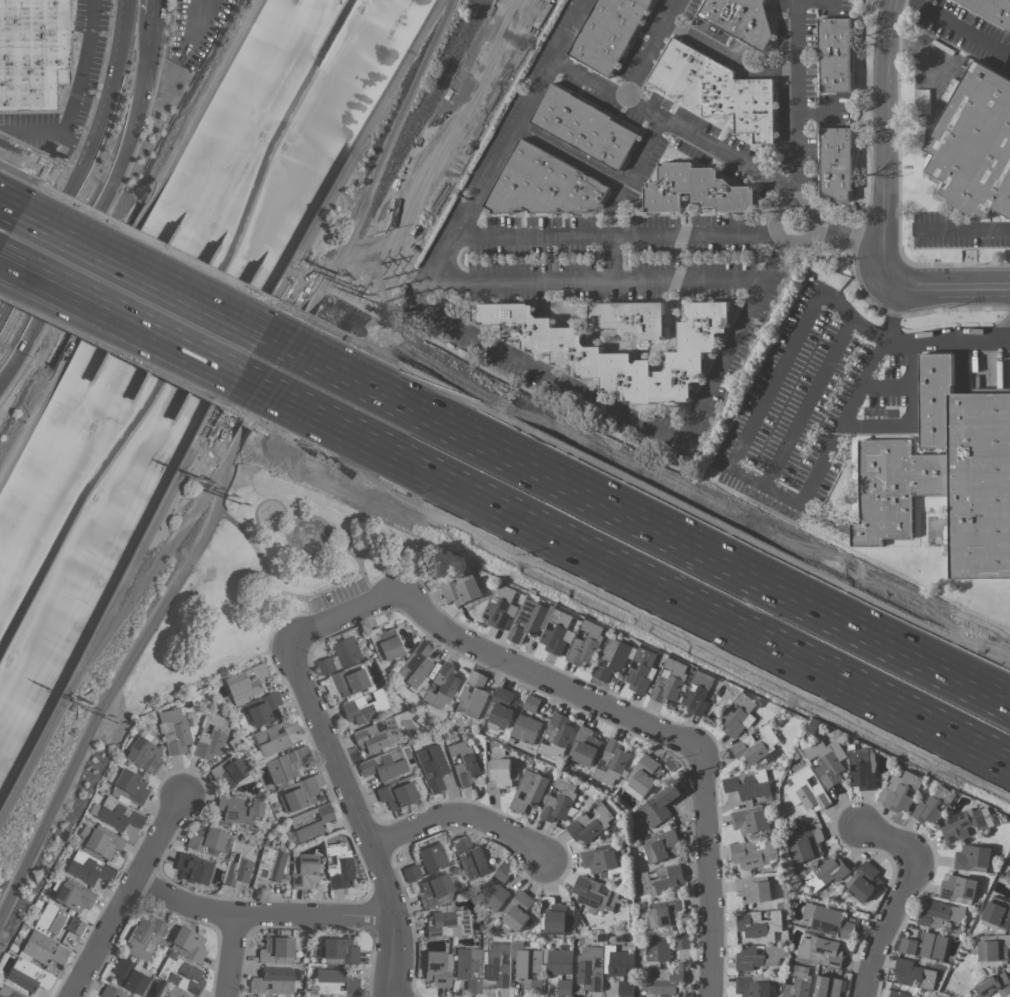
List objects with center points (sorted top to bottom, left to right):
road: (153, 7)
building: (990, 11)
building: (738, 20)
road: (196, 21)
road: (953, 24)
building: (610, 33)
road: (123, 38)
road: (663, 50)
building: (33, 53)
building: (836, 57)
road: (738, 62)
road: (82, 65)
building: (717, 91)
road: (805, 100)
road: (681, 128)
building: (583, 129)
road: (32, 132)
road: (75, 141)
building: (974, 143)
road: (386, 146)
road: (886, 146)
road: (579, 159)
building: (838, 163)
road: (638, 178)
road: (10, 185)
building: (544, 186)
building: (695, 191)
road: (74, 192)
road: (97, 203)
road: (779, 216)
road: (961, 228)
road: (124, 233)
road: (852, 233)
road: (624, 237)
road: (621, 260)
road: (167, 261)
power tower: (338, 274)
road: (609, 283)
road: (955, 286)
road: (873, 303)
road: (894, 308)
road: (9, 317)
road: (849, 319)
building: (629, 322)
road: (109, 324)
river: (176, 329)
road: (886, 335)
road: (108, 338)
road: (960, 341)
road: (897, 343)
road: (501, 351)
building: (576, 357)
road: (776, 378)
road: (886, 387)
road: (249, 391)
road: (808, 403)
road: (910, 418)
road: (652, 454)
road: (824, 456)
building: (945, 474)
power tower: (199, 478)
road: (481, 505)
road: (661, 505)
road: (290, 517)
road: (283, 519)
road: (281, 530)
road: (336, 540)
road: (289, 548)
road: (356, 554)
road: (258, 557)
road: (358, 563)
park: (270, 576)
road: (416, 579)
road: (340, 581)
building: (461, 590)
road: (430, 598)
building: (499, 606)
road: (315, 609)
road: (343, 614)
building: (526, 619)
building: (555, 631)
building: (384, 643)
building: (585, 643)
building: (345, 651)
building: (611, 658)
building: (414, 664)
building: (323, 665)
building: (640, 670)
building: (347, 680)
building: (669, 681)
road: (847, 684)
building: (441, 685)
building: (239, 686)
road: (119, 688)
building: (697, 692)
building: (472, 695)
power tower: (76, 699)
building: (531, 703)
building: (364, 707)
building: (501, 707)
building: (264, 709)
building: (736, 714)
building: (526, 728)
road: (656, 729)
building: (174, 730)
building: (273, 736)
building: (376, 736)
building: (556, 736)
building: (210, 737)
building: (584, 745)
building: (756, 745)
building: (143, 754)
building: (464, 760)
building: (827, 760)
building: (612, 761)
building: (285, 765)
building: (384, 765)
building: (431, 766)
building: (862, 768)
building: (233, 771)
building: (498, 774)
building: (643, 774)
building: (748, 784)
building: (130, 785)
building: (529, 790)
building: (807, 790)
building: (899, 790)
building: (395, 794)
building: (298, 795)
building: (559, 800)
building: (659, 805)
building: (933, 805)
building: (238, 809)
building: (117, 813)
road: (356, 816)
road: (459, 816)
building: (749, 820)
building: (310, 821)
building: (592, 823)
building: (963, 823)
building: (205, 838)
building: (100, 841)
building: (807, 844)
building: (662, 845)
building: (754, 852)
building: (971, 856)
building: (470, 857)
building: (432, 858)
building: (599, 859)
building: (237, 864)
building: (338, 865)
building: (267, 867)
building: (88, 868)
building: (191, 868)
building: (304, 871)
building: (503, 871)
building: (410, 872)
building: (825, 873)
building: (1007, 875)
building: (660, 880)
building: (864, 880)
building: (436, 887)
building: (958, 887)
building: (754, 888)
building: (594, 893)
building: (492, 894)
building: (73, 897)
road: (128, 897)
road: (897, 897)
building: (519, 910)
road: (261, 913)
building: (666, 913)
building: (996, 913)
building: (555, 915)
building: (942, 916)
building: (49, 919)
building: (828, 920)
building: (448, 921)
building: (759, 923)
building: (75, 926)
building: (143, 937)
building: (682, 941)
building: (188, 943)
building: (907, 944)
building: (933, 946)
building: (657, 948)
building: (994, 948)
building: (43, 949)
building: (275, 949)
building: (338, 950)
building: (821, 950)
road: (228, 954)
building: (757, 956)
building: (559, 961)
building: (617, 961)
building: (498, 964)
building: (589, 966)
building: (436, 967)
building: (468, 968)
building: (529, 969)
building: (914, 973)
building: (28, 975)
building: (180, 975)
building: (130, 976)
building: (274, 979)
building: (663, 981)
building: (797, 981)
building: (334, 982)
building: (995, 985)
building: (564, 986)
building: (828, 986)
building: (752, 987)
building: (626, 988)
building: (9, 991)
building: (108, 991)
building: (899, 994)
building: (165, 996)
building: (923, 996)

